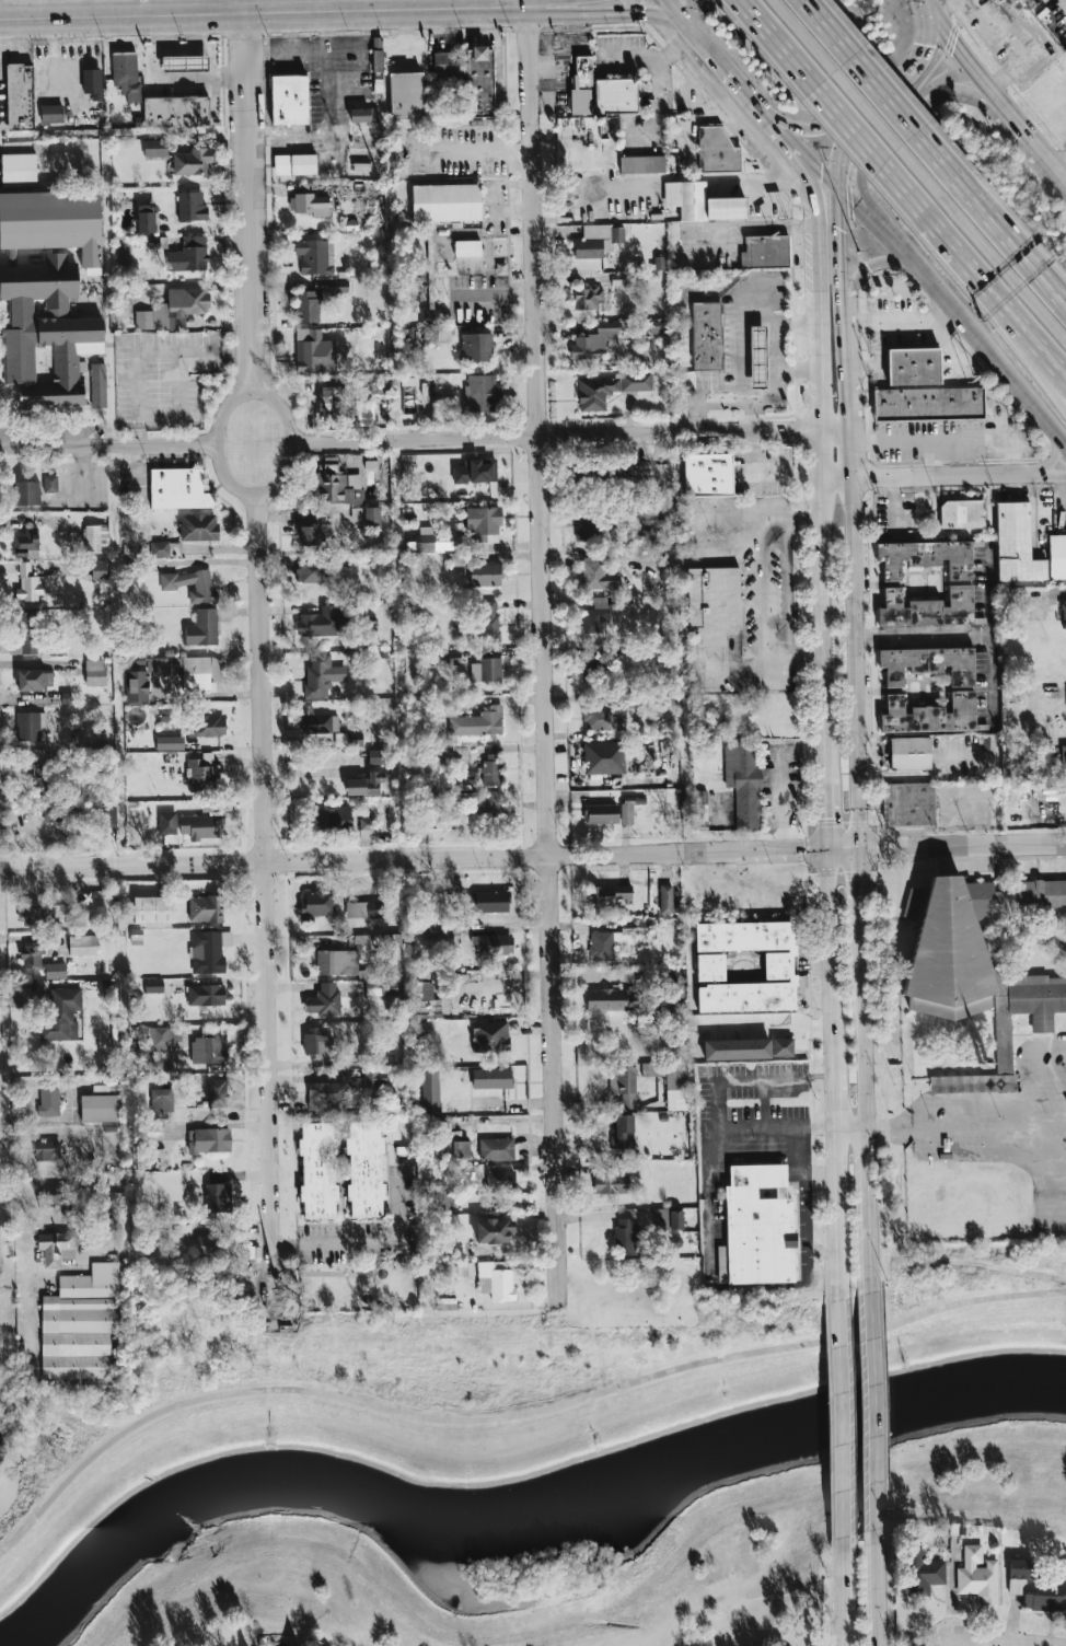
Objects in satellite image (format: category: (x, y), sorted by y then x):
traffic signals: (924, 0)
building: (994, 0)
building: (1019, 0)
road: (524, 3)
road: (533, 3)
road: (476, 4)
road: (290, 5)
road: (262, 11)
road: (610, 13)
traffic signals: (641, 13)
road: (679, 14)
road: (691, 14)
road: (325, 28)
road: (291, 32)
road: (1000, 35)
road: (321, 47)
road: (181, 49)
road: (212, 56)
road: (971, 61)
building: (185, 62)
gas station: (185, 62)
building: (443, 65)
road: (730, 71)
road: (911, 71)
road: (1006, 73)
building: (126, 74)
road: (186, 77)
building: (479, 82)
building: (92, 83)
building: (600, 91)
road: (881, 91)
building: (406, 95)
building: (22, 96)
building: (291, 98)
road: (855, 98)
road: (830, 107)
building: (177, 112)
building: (51, 113)
building: (364, 115)
road: (907, 124)
road: (327, 129)
road: (809, 129)
road: (1030, 139)
building: (155, 148)
road: (475, 150)
building: (717, 150)
road: (803, 151)
building: (193, 162)
building: (296, 164)
building: (642, 164)
building: (20, 170)
road: (1053, 171)
road: (1061, 171)
traffic signals: (839, 187)
road: (248, 194)
building: (447, 202)
building: (698, 202)
building: (310, 204)
building: (192, 206)
building: (146, 218)
building: (55, 222)
road: (798, 224)
road: (738, 227)
road: (999, 230)
building: (598, 241)
building: (467, 247)
building: (762, 252)
building: (189, 255)
building: (313, 257)
road: (960, 260)
road: (871, 264)
road: (1003, 269)
road: (1053, 288)
road: (1053, 293)
building: (588, 298)
building: (316, 299)
building: (174, 309)
road: (955, 313)
road: (849, 315)
road: (900, 321)
building: (658, 326)
building: (45, 332)
building: (707, 336)
building: (594, 340)
road: (1033, 344)
road: (948, 346)
building: (476, 347)
road: (148, 351)
building: (314, 351)
road: (1033, 355)
building: (757, 356)
road: (796, 370)
building: (99, 384)
building: (376, 387)
building: (609, 389)
building: (923, 389)
building: (480, 394)
road: (775, 395)
road: (177, 403)
road: (754, 416)
road: (568, 437)
road: (951, 438)
road: (286, 440)
road: (220, 442)
road: (109, 447)
road: (931, 457)
road: (1054, 459)
building: (476, 471)
road: (765, 474)
road: (1051, 474)
building: (708, 475)
road: (928, 475)
building: (50, 484)
building: (177, 488)
building: (338, 488)
building: (25, 492)
building: (653, 511)
building: (962, 513)
building: (367, 515)
road: (756, 519)
building: (484, 523)
building: (198, 526)
building: (584, 526)
building: (310, 531)
road: (763, 533)
building: (96, 537)
building: (439, 540)
building: (26, 542)
building: (1016, 544)
road: (714, 547)
building: (160, 548)
building: (1057, 556)
building: (99, 569)
building: (311, 571)
building: (485, 573)
building: (596, 575)
building: (28, 584)
building: (190, 584)
building: (960, 584)
road: (987, 594)
road: (763, 602)
building: (711, 603)
building: (1064, 613)
building: (595, 615)
building: (489, 621)
building: (324, 622)
building: (202, 628)
building: (25, 634)
road: (918, 637)
road: (540, 654)
road: (792, 658)
road: (763, 664)
building: (928, 664)
building: (596, 666)
building: (486, 670)
road: (992, 671)
building: (95, 672)
road: (732, 672)
building: (201, 673)
building: (318, 676)
building: (146, 677)
building: (34, 679)
road: (823, 700)
road: (859, 705)
building: (929, 714)
building: (603, 718)
building: (477, 722)
building: (314, 723)
building: (31, 726)
building: (210, 726)
building: (340, 739)
building: (170, 742)
building: (911, 753)
building: (376, 756)
building: (603, 757)
building: (1064, 760)
building: (491, 769)
building: (202, 773)
building: (39, 775)
building: (364, 784)
building: (743, 785)
building: (908, 804)
building: (493, 809)
building: (627, 809)
building: (81, 812)
building: (602, 813)
building: (166, 822)
building: (201, 823)
traffic signals: (864, 849)
traffic signals: (826, 850)
road: (533, 856)
building: (611, 894)
building: (665, 899)
building: (96, 902)
road: (263, 902)
building: (491, 902)
building: (318, 904)
building: (205, 908)
building: (153, 909)
building: (363, 909)
building: (31, 916)
building: (440, 929)
building: (615, 939)
building: (960, 939)
building: (82, 944)
building: (493, 944)
building: (209, 951)
building: (31, 954)
building: (337, 962)
building: (778, 965)
building: (710, 966)
building: (673, 982)
building: (153, 986)
building: (381, 986)
building: (425, 990)
building: (206, 995)
building: (1038, 998)
building: (323, 999)
building: (612, 999)
building: (61, 1013)
building: (490, 1036)
building: (164, 1039)
building: (318, 1043)
building: (1004, 1044)
building: (213, 1046)
building: (783, 1047)
building: (737, 1048)
building: (491, 1078)
building: (374, 1079)
building: (623, 1085)
building: (676, 1086)
building: (430, 1091)
building: (216, 1092)
building: (325, 1093)
road: (994, 1099)
building: (162, 1101)
building: (48, 1102)
road: (763, 1106)
building: (100, 1108)
road: (714, 1109)
building: (622, 1131)
road: (853, 1131)
road: (884, 1131)
parking lot: (996, 1134)
building: (209, 1139)
building: (496, 1148)
building: (460, 1149)
building: (47, 1150)
building: (364, 1167)
building: (317, 1169)
building: (463, 1171)
road: (1035, 1173)
road: (821, 1180)
building: (500, 1181)
building: (611, 1183)
building: (50, 1194)
building: (217, 1196)
road: (803, 1209)
building: (668, 1219)
building: (757, 1227)
building: (493, 1230)
building: (628, 1236)
road: (368, 1243)
building: (215, 1244)
building: (57, 1248)
building: (464, 1270)
building: (496, 1279)
building: (83, 1328)
road: (872, 1398)
road: (843, 1399)
road: (510, 1414)
river: (512, 1512)
building: (922, 1570)
road: (842, 1572)
road: (874, 1573)
building: (977, 1575)
building: (1040, 1587)
road: (1005, 1638)

